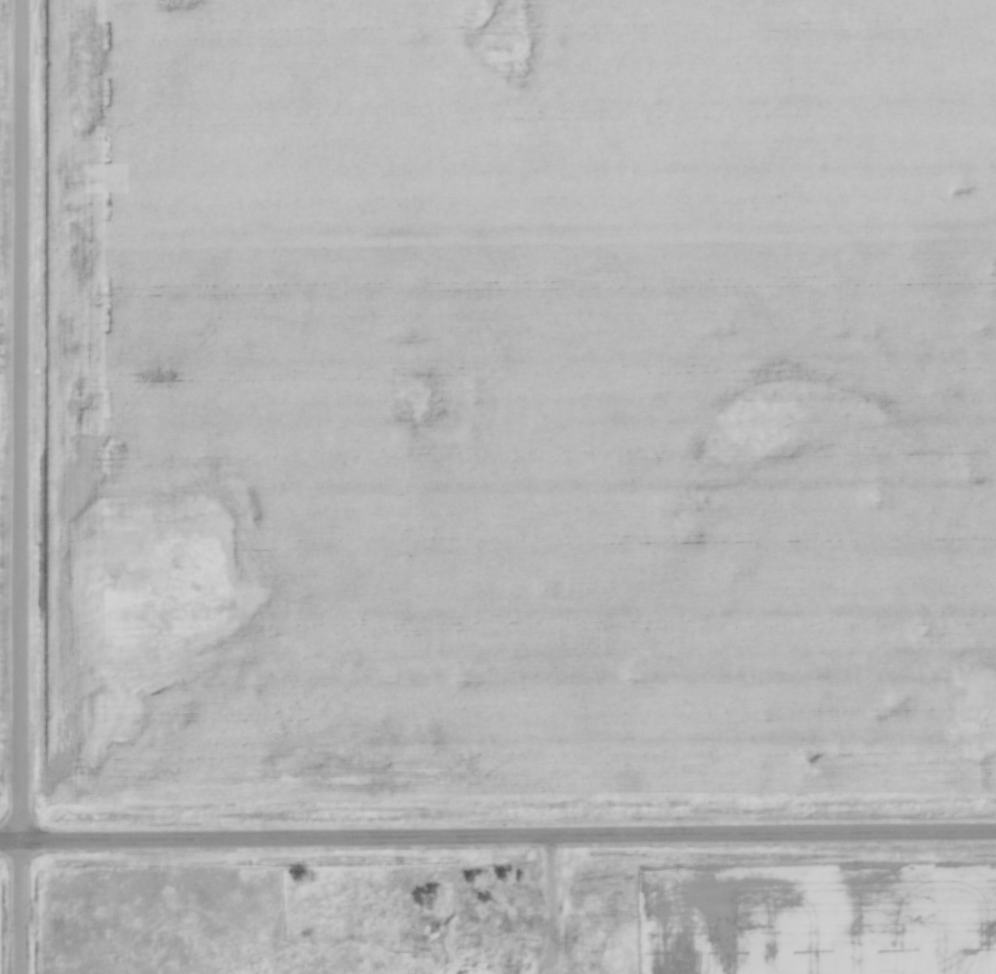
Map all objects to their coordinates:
road: (19, 486)
road: (508, 836)
road: (10, 839)
road: (552, 905)
building: (466, 962)

